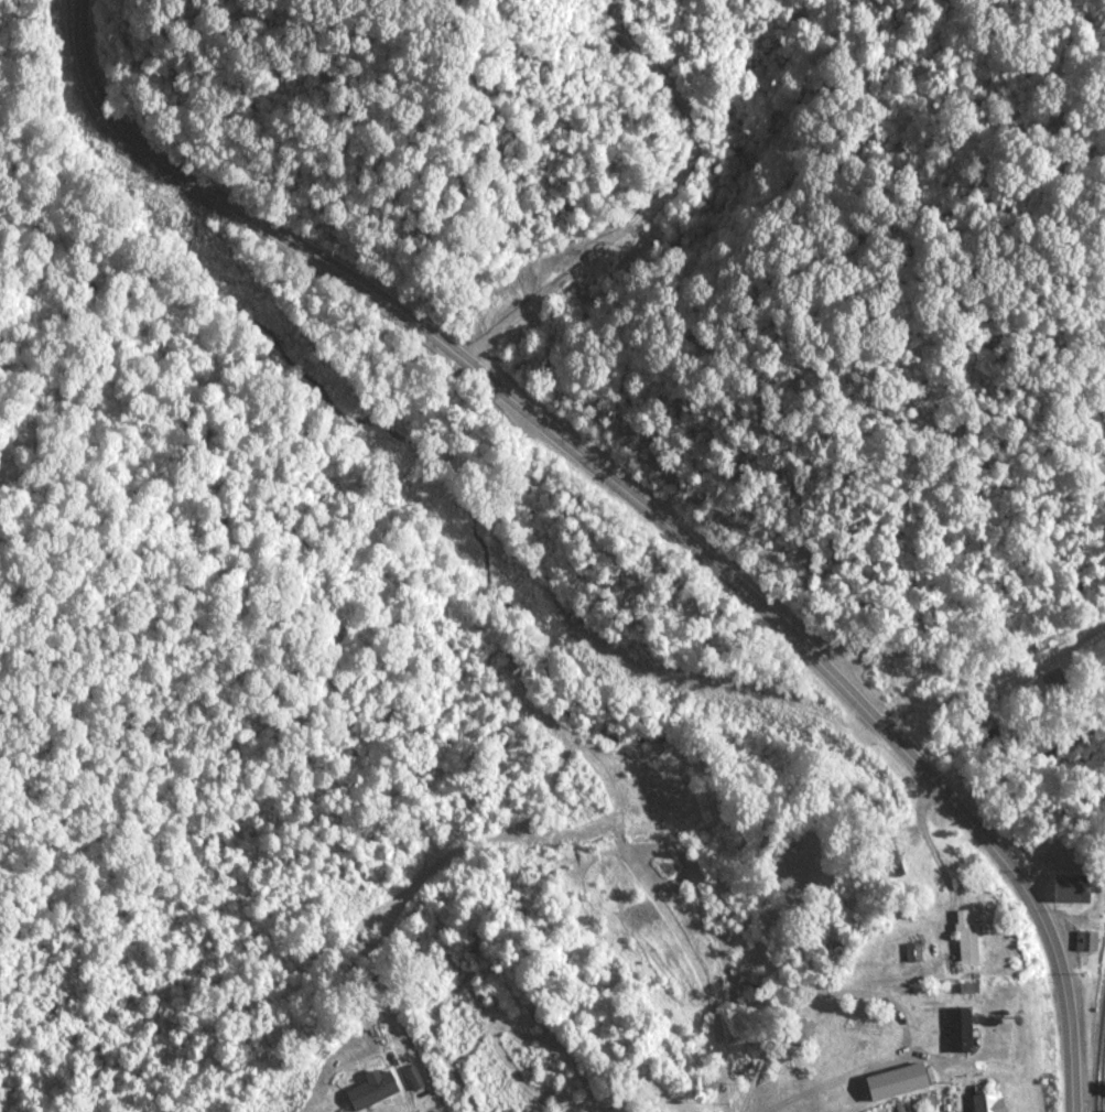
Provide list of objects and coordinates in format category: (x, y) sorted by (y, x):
road: (638, 501)
road: (968, 674)
building: (1053, 685)
building: (1068, 892)
building: (961, 938)
building: (1084, 943)
building: (911, 954)
building: (963, 992)
building: (993, 1003)
building: (799, 1034)
railway: (1099, 1057)
road: (791, 1062)
building: (788, 1076)
building: (409, 1079)
building: (982, 1103)

